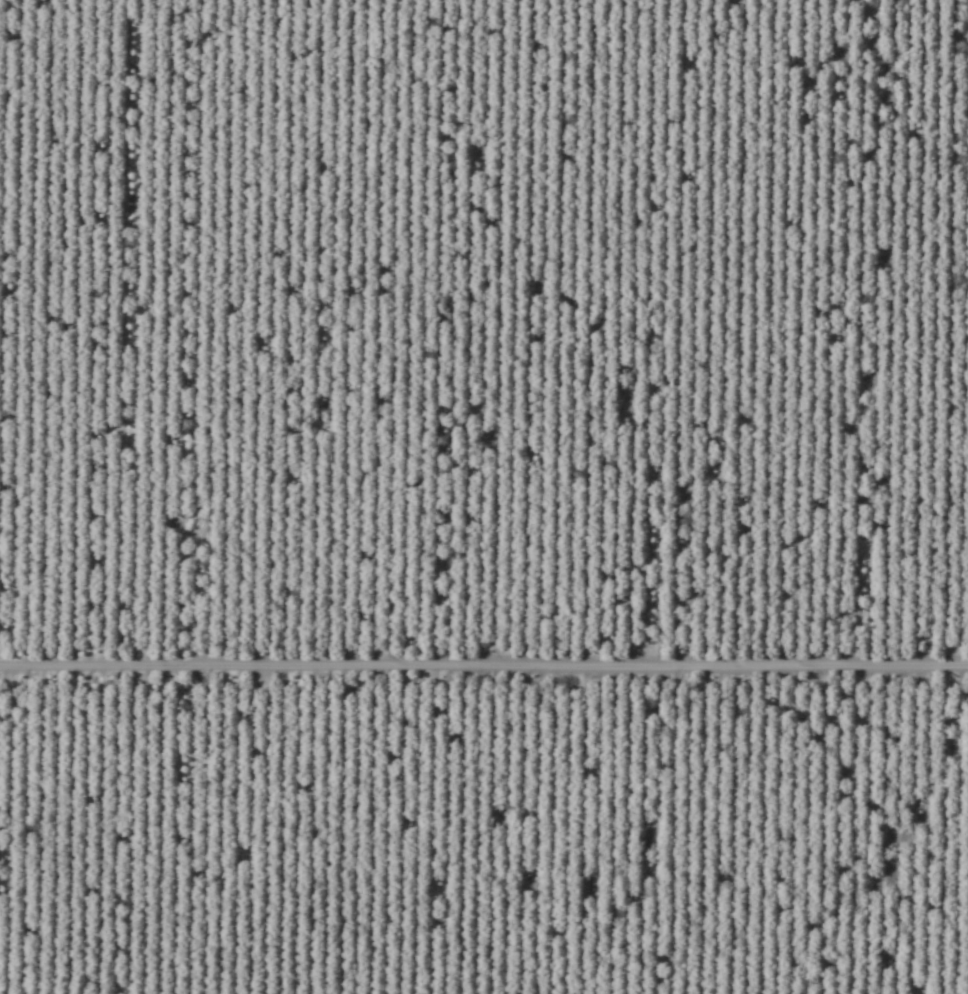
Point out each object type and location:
crop: (484, 497)

